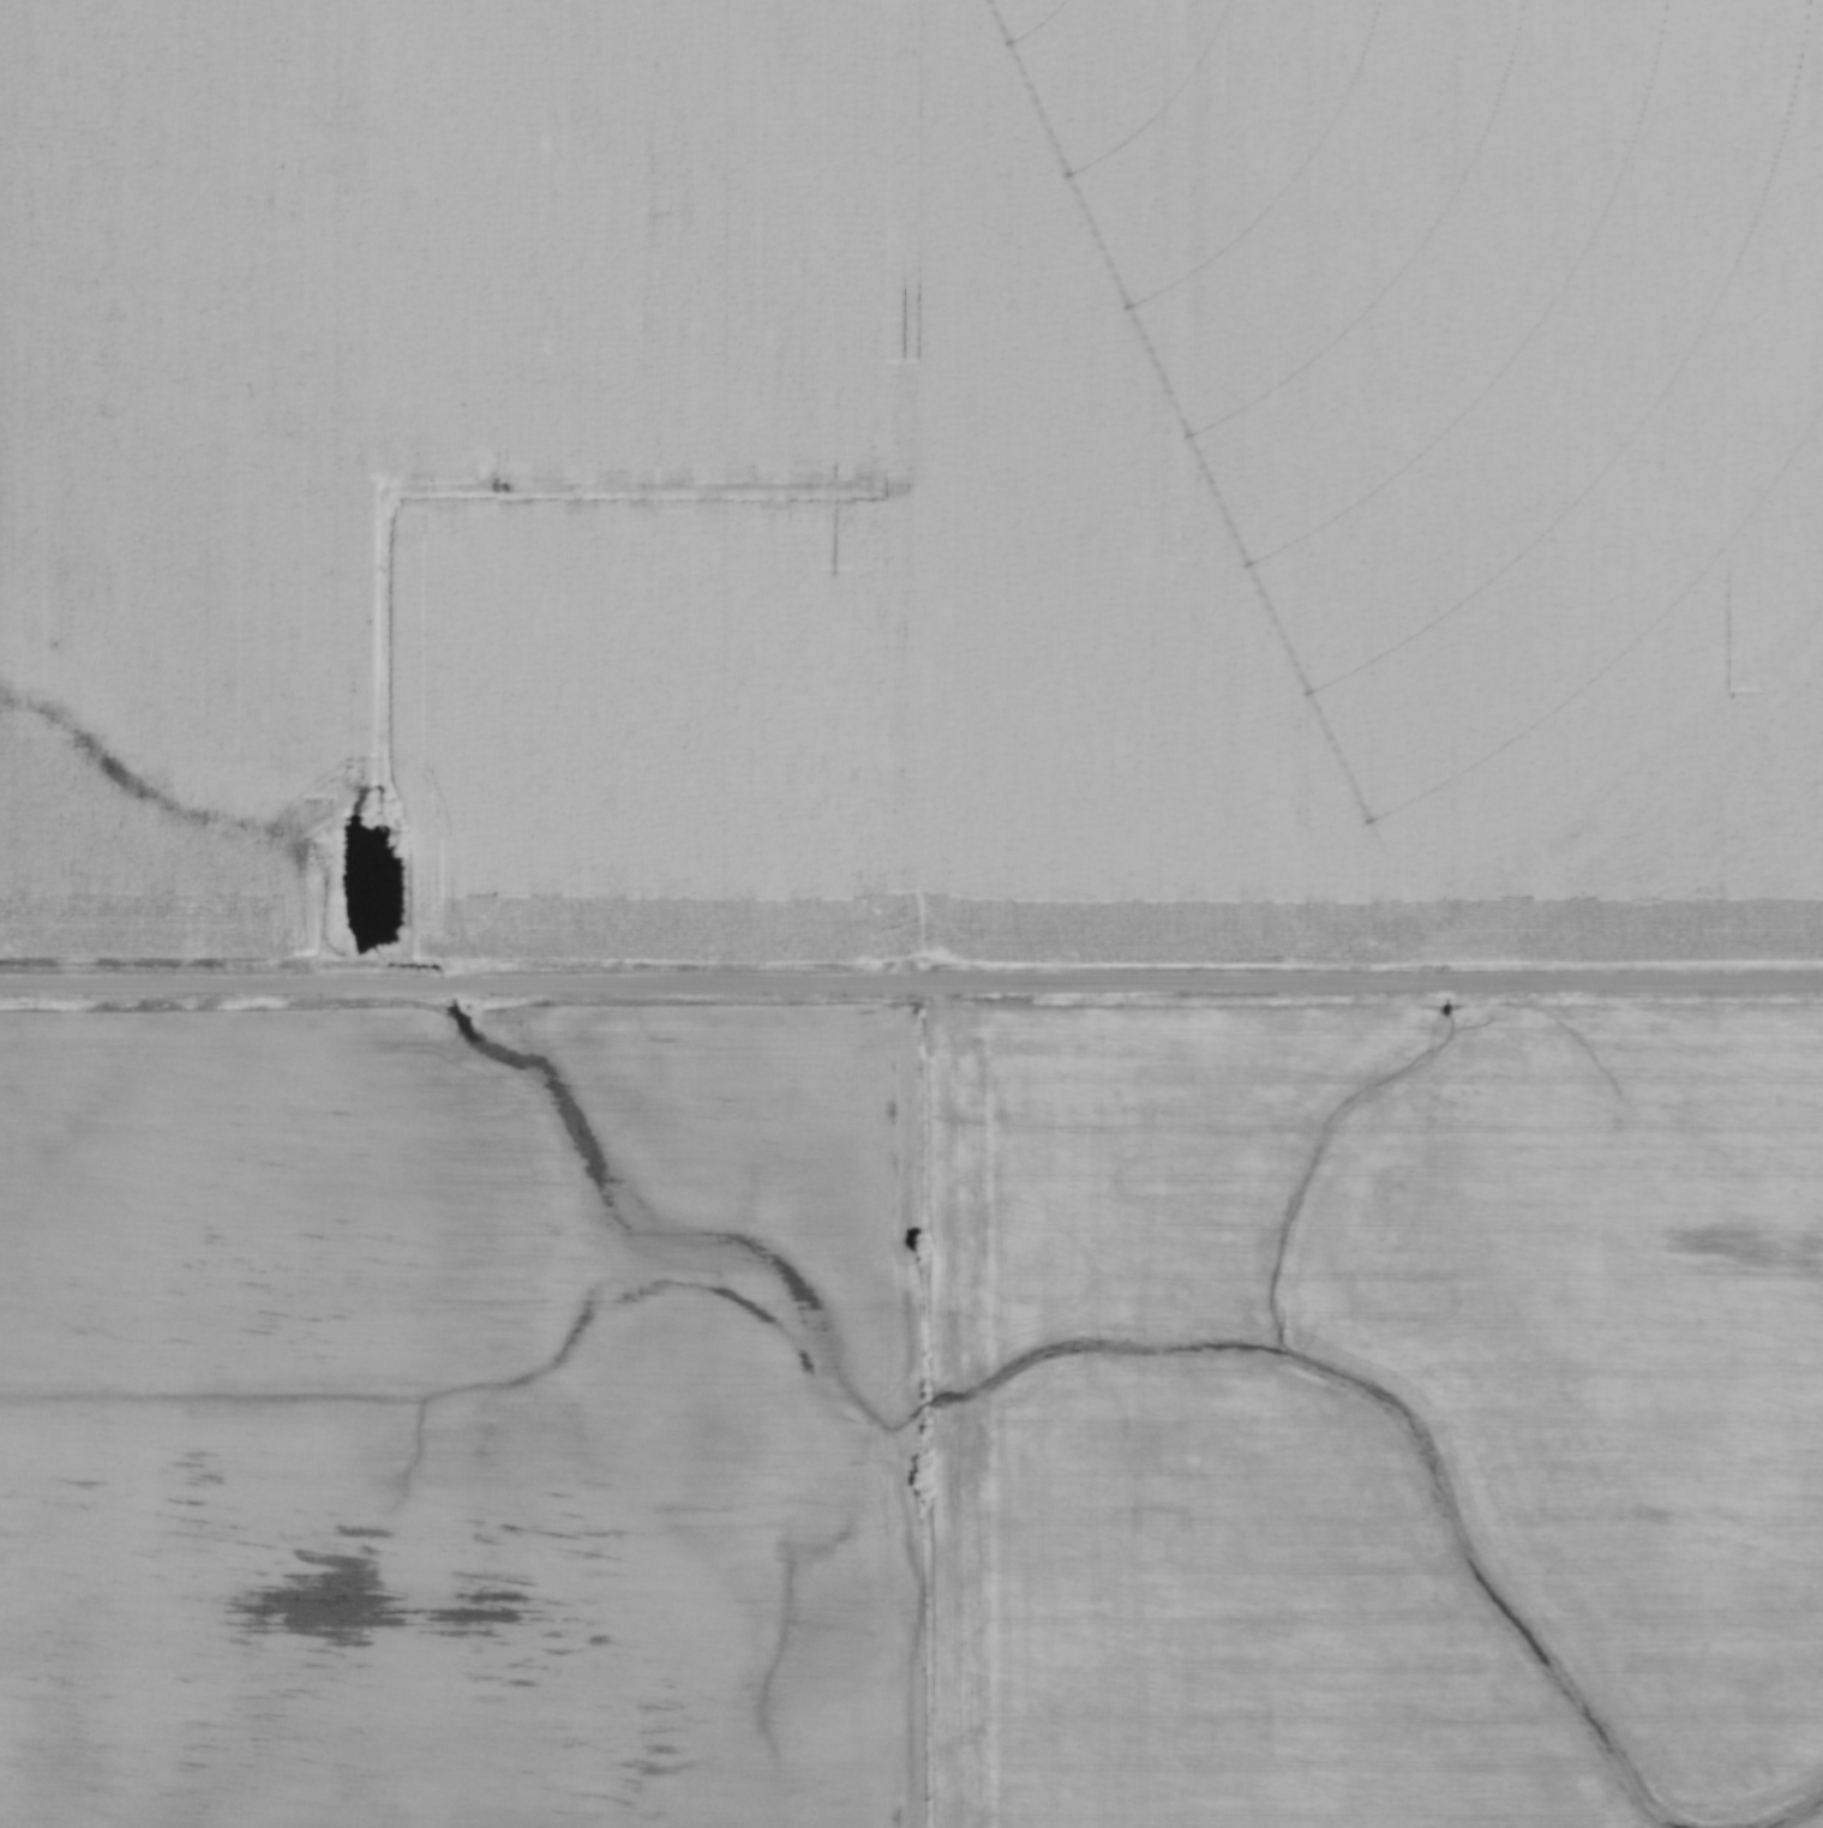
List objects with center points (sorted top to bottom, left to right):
road: (911, 989)

